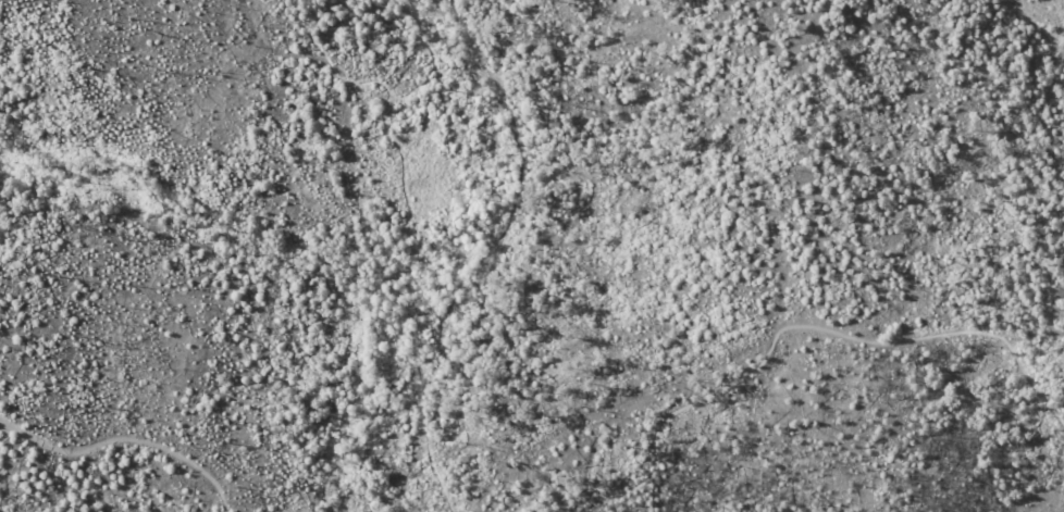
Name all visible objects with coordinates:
road: (329, 60)
road: (399, 168)
park: (532, 255)
road: (774, 337)
road: (416, 372)
road: (124, 438)
road: (426, 448)

